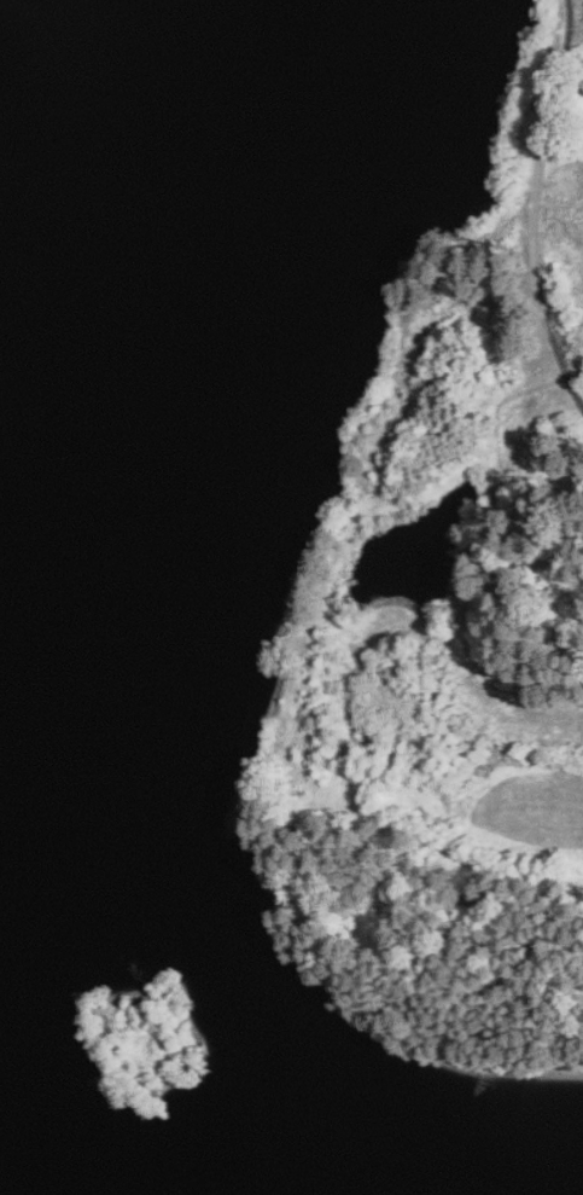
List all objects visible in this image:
road: (534, 204)

